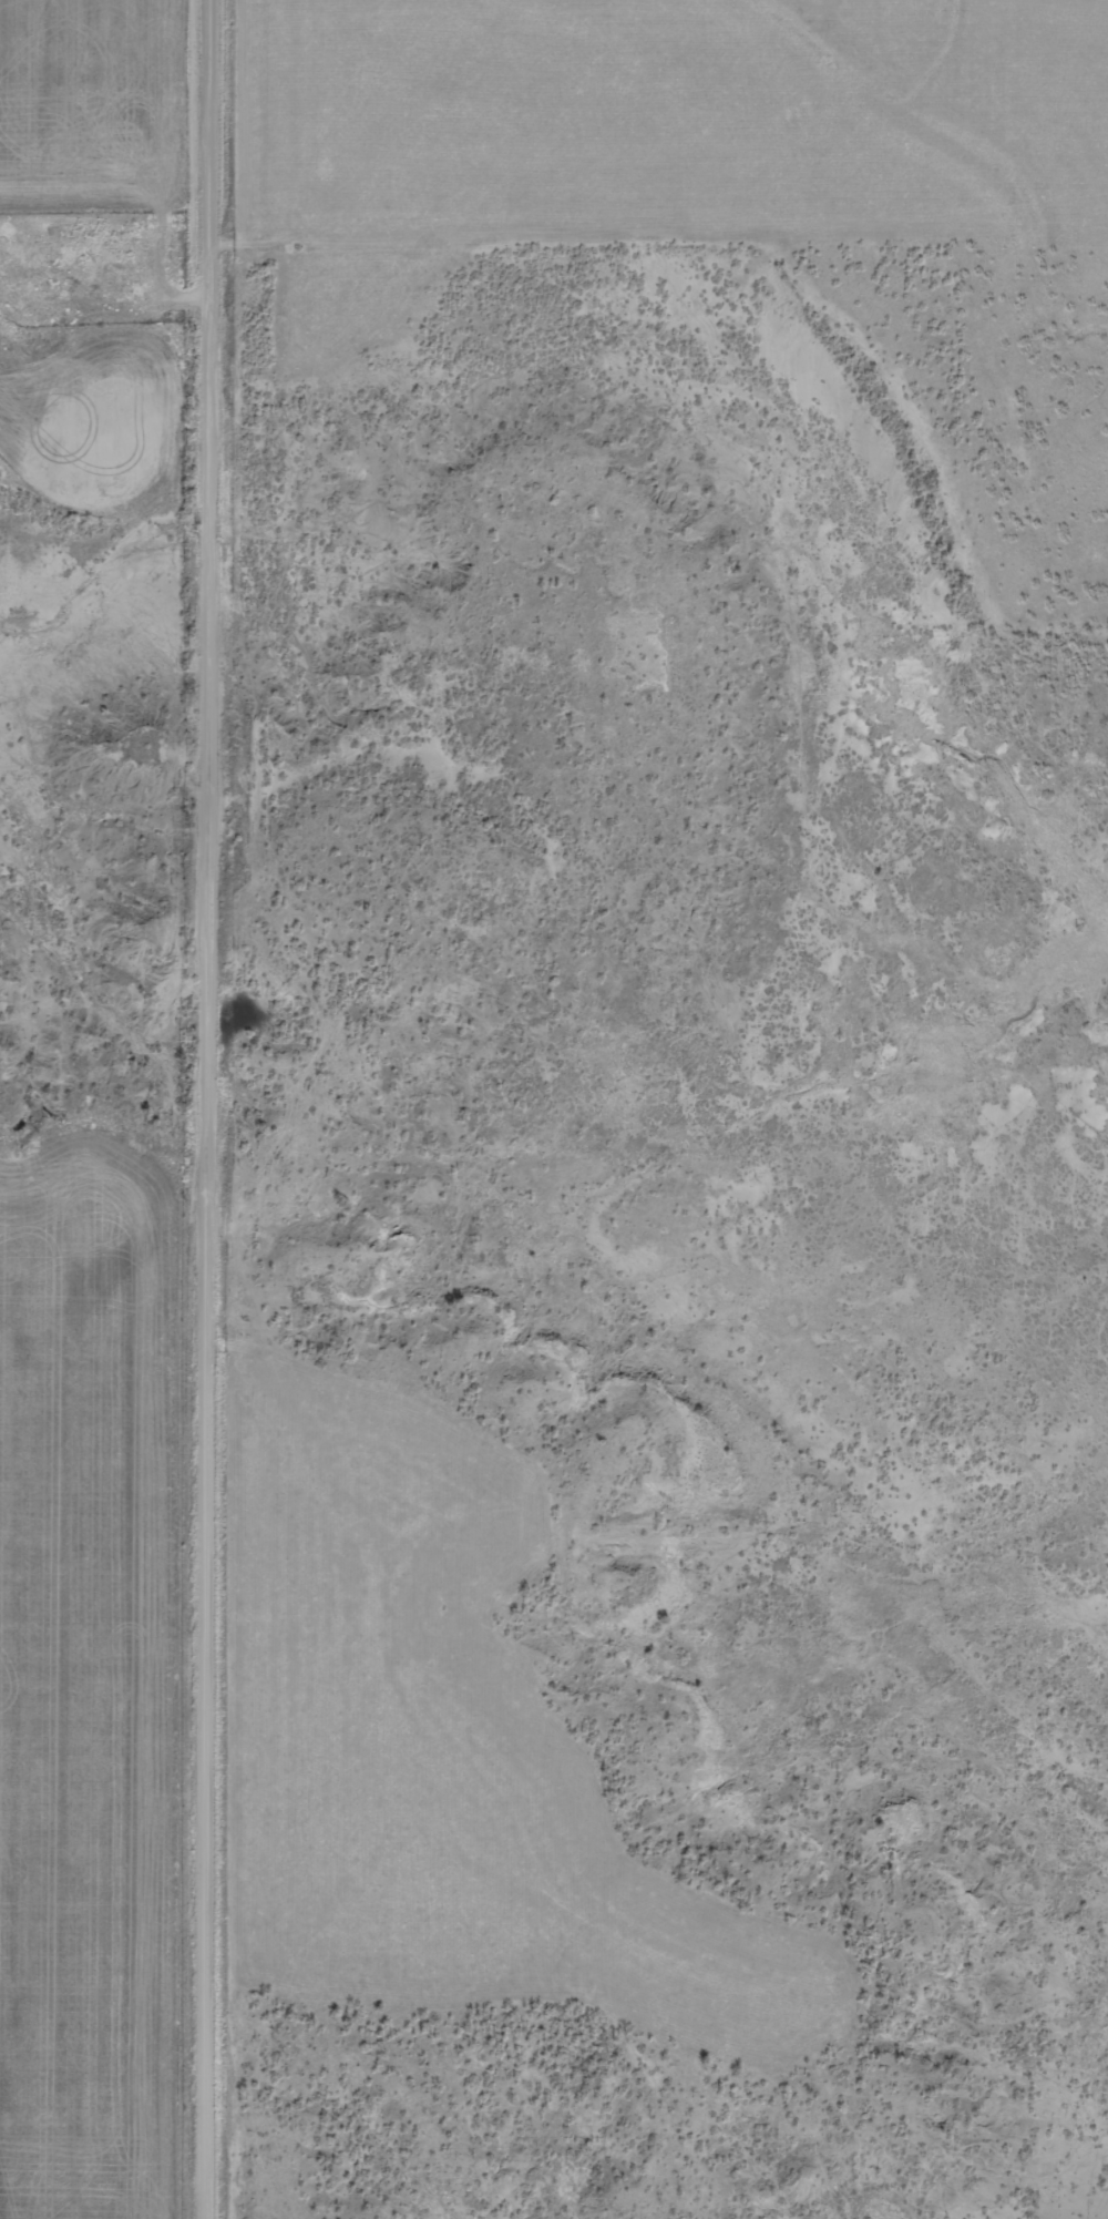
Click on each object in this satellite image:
road: (212, 1108)

